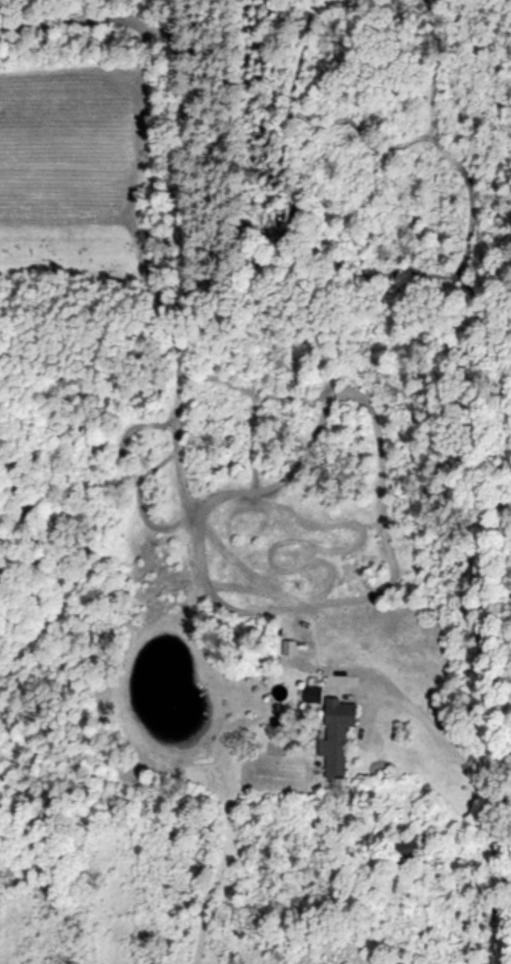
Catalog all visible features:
building: (330, 732)
building: (404, 850)

